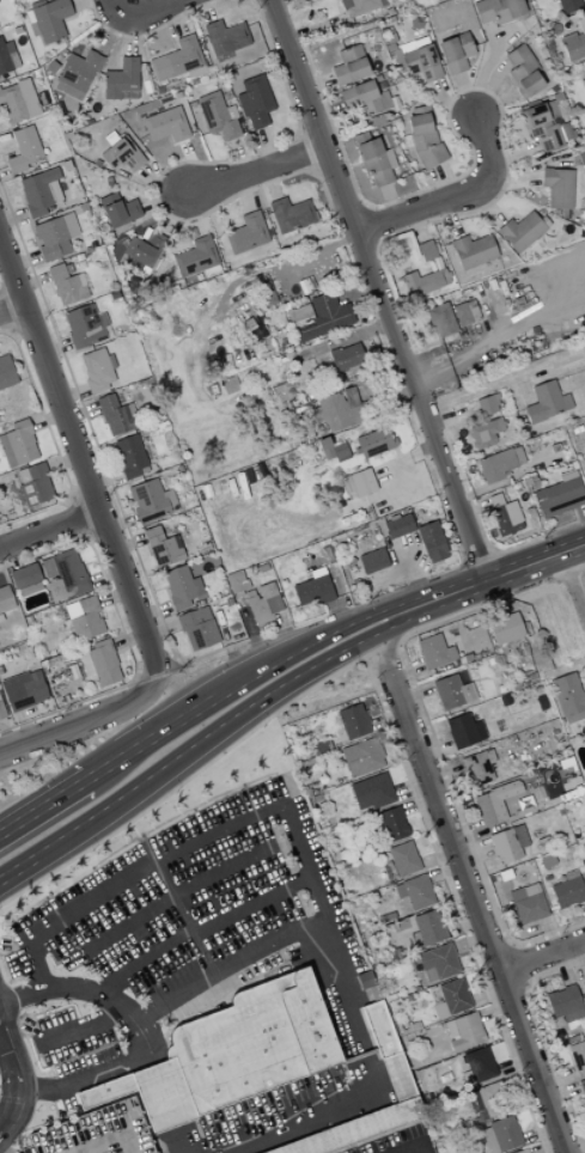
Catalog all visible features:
building: (360, 6)
building: (567, 6)
building: (496, 11)
road: (141, 16)
building: (47, 20)
building: (224, 37)
building: (574, 42)
building: (453, 53)
building: (5, 57)
building: (175, 60)
building: (421, 62)
building: (348, 65)
building: (583, 72)
building: (523, 73)
building: (75, 74)
building: (120, 79)
building: (364, 99)
building: (17, 102)
building: (254, 102)
building: (217, 116)
building: (165, 124)
building: (543, 127)
building: (422, 138)
building: (23, 150)
building: (121, 155)
building: (374, 161)
road: (254, 169)
building: (556, 188)
building: (38, 191)
road: (452, 199)
building: (117, 211)
building: (288, 214)
building: (522, 231)
building: (245, 233)
building: (54, 237)
building: (142, 248)
building: (425, 250)
building: (471, 251)
building: (195, 257)
building: (422, 282)
building: (65, 285)
road: (376, 289)
building: (258, 294)
road: (12, 309)
building: (464, 312)
building: (298, 315)
building: (324, 317)
building: (439, 321)
building: (84, 327)
building: (254, 328)
building: (345, 358)
building: (96, 370)
building: (6, 373)
road: (504, 382)
building: (546, 402)
building: (487, 404)
building: (336, 413)
building: (114, 415)
building: (583, 428)
building: (483, 433)
building: (372, 443)
building: (17, 445)
building: (330, 450)
building: (128, 457)
building: (498, 464)
building: (583, 464)
road: (86, 480)
building: (358, 483)
building: (32, 486)
building: (559, 495)
building: (150, 501)
building: (505, 519)
building: (396, 526)
road: (49, 532)
building: (431, 542)
building: (162, 548)
building: (371, 561)
road: (536, 561)
building: (62, 575)
building: (24, 580)
road: (572, 585)
building: (179, 587)
building: (311, 590)
building: (254, 597)
building: (5, 599)
building: (0, 618)
building: (83, 618)
building: (505, 628)
building: (196, 629)
road: (335, 629)
road: (389, 641)
road: (388, 643)
building: (487, 648)
building: (434, 651)
building: (489, 660)
building: (99, 663)
road: (406, 672)
building: (531, 676)
building: (514, 682)
building: (500, 689)
building: (23, 690)
building: (452, 691)
road: (414, 693)
building: (568, 696)
building: (540, 702)
road: (250, 703)
building: (1, 713)
road: (510, 714)
road: (385, 719)
building: (353, 721)
road: (60, 730)
road: (431, 731)
building: (465, 731)
road: (392, 734)
road: (140, 744)
building: (325, 745)
road: (434, 750)
building: (361, 757)
building: (306, 762)
road: (440, 767)
building: (477, 768)
road: (189, 775)
road: (412, 788)
building: (372, 792)
building: (306, 793)
road: (418, 803)
road: (42, 805)
building: (489, 807)
building: (391, 823)
road: (463, 828)
building: (543, 842)
building: (507, 843)
road: (470, 846)
road: (145, 850)
road: (435, 856)
building: (401, 860)
road: (441, 868)
road: (16, 870)
building: (520, 871)
building: (505, 876)
road: (307, 877)
road: (268, 880)
building: (567, 890)
building: (415, 892)
road: (452, 904)
building: (529, 905)
road: (584, 907)
road: (476, 913)
road: (463, 926)
building: (426, 929)
road: (550, 934)
road: (183, 941)
road: (469, 942)
road: (511, 942)
road: (490, 953)
road: (541, 956)
road: (579, 959)
building: (439, 960)
road: (516, 964)
road: (226, 968)
road: (561, 968)
building: (584, 982)
road: (526, 984)
road: (69, 989)
road: (505, 989)
road: (488, 995)
building: (451, 998)
building: (565, 1003)
road: (494, 1009)
road: (85, 1026)
building: (465, 1032)
road: (543, 1038)
building: (572, 1038)
building: (231, 1053)
building: (577, 1056)
building: (477, 1066)
road: (514, 1066)
road: (100, 1072)
road: (518, 1075)
road: (556, 1078)
road: (13, 1081)
building: (581, 1086)
building: (402, 1087)
road: (561, 1092)
building: (493, 1098)
building: (93, 1131)
parking lot: (93, 1131)
road: (538, 1131)
building: (500, 1135)
road: (544, 1146)
road: (574, 1148)
road: (1, 1151)
building: (520, 1151)

